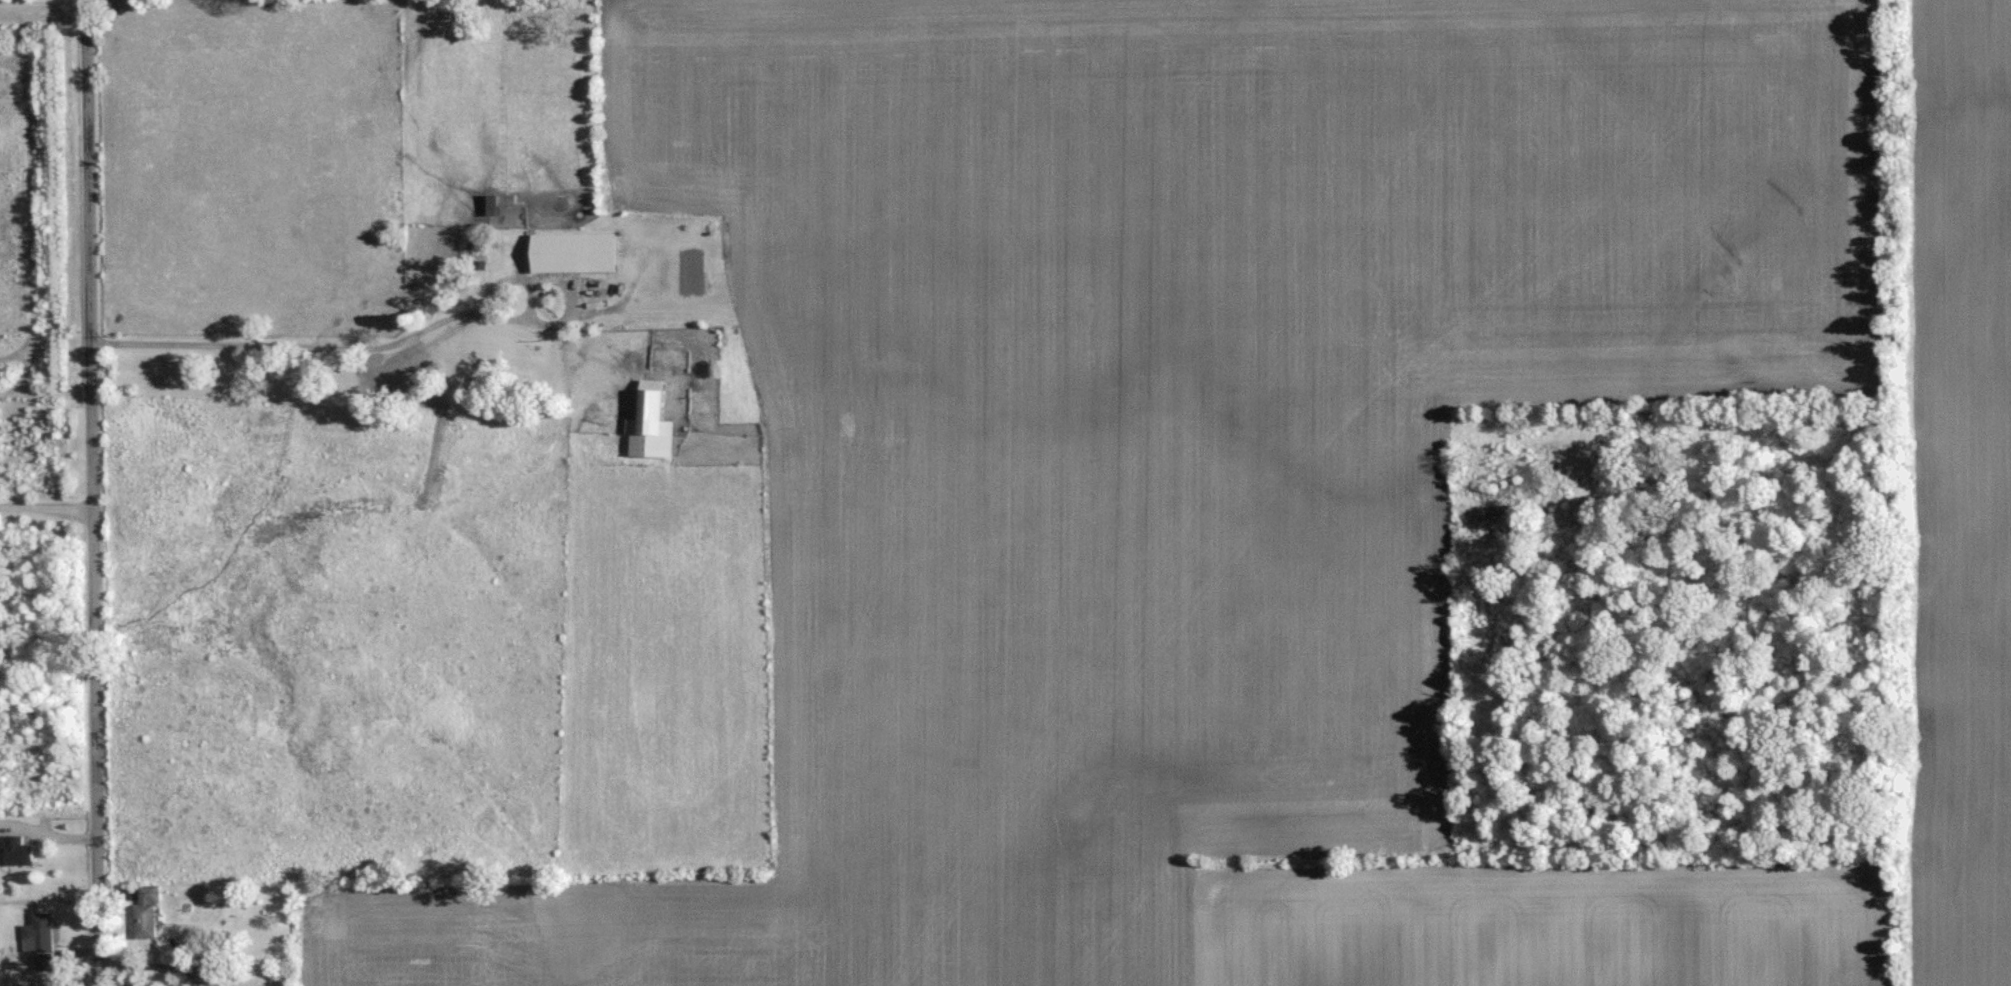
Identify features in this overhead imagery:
road: (42, 5)
building: (579, 251)
road: (365, 347)
building: (655, 422)
road: (92, 492)
road: (46, 507)
building: (21, 850)
building: (149, 911)
building: (42, 939)

